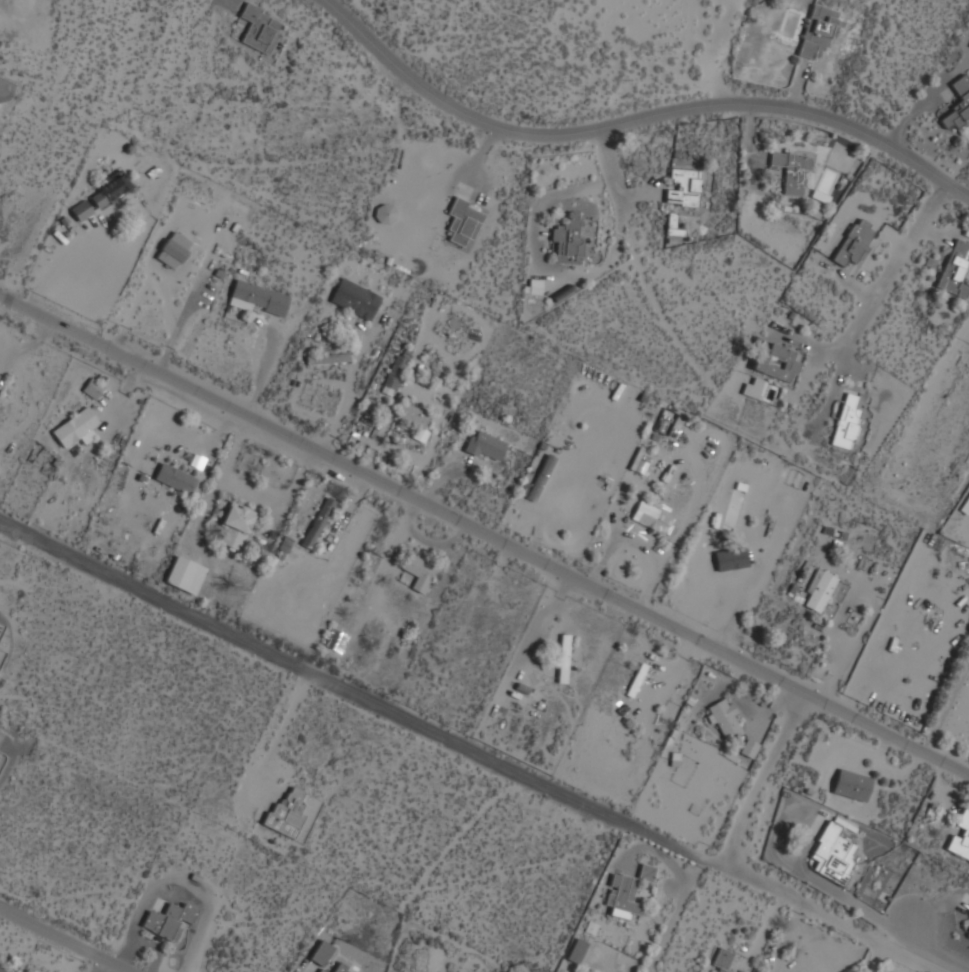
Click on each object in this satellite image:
building: (259, 29)
building: (818, 30)
building: (968, 45)
building: (958, 106)
road: (624, 119)
building: (792, 171)
road: (609, 182)
road: (956, 185)
building: (111, 188)
building: (683, 188)
building: (820, 197)
building: (81, 211)
building: (462, 222)
building: (672, 226)
building: (567, 242)
building: (855, 243)
building: (173, 250)
road: (889, 266)
building: (955, 269)
building: (535, 287)
building: (257, 299)
building: (355, 299)
building: (327, 359)
building: (776, 364)
building: (394, 375)
building: (752, 388)
building: (93, 389)
building: (416, 421)
building: (846, 423)
building: (76, 428)
building: (485, 447)
building: (638, 465)
building: (540, 478)
building: (175, 479)
building: (653, 519)
building: (318, 524)
building: (236, 526)
road: (484, 531)
building: (736, 551)
building: (418, 572)
building: (185, 575)
building: (819, 591)
building: (335, 641)
building: (563, 659)
building: (636, 681)
road: (357, 688)
building: (723, 717)
road: (283, 730)
building: (749, 749)
road: (757, 774)
building: (852, 786)
building: (287, 812)
building: (960, 837)
building: (830, 855)
building: (626, 893)
building: (968, 914)
road: (826, 917)
building: (168, 920)
building: (968, 935)
road: (66, 939)
building: (577, 951)
road: (930, 951)
building: (321, 953)
building: (722, 960)
building: (341, 969)
building: (2, 971)
building: (320, 971)

